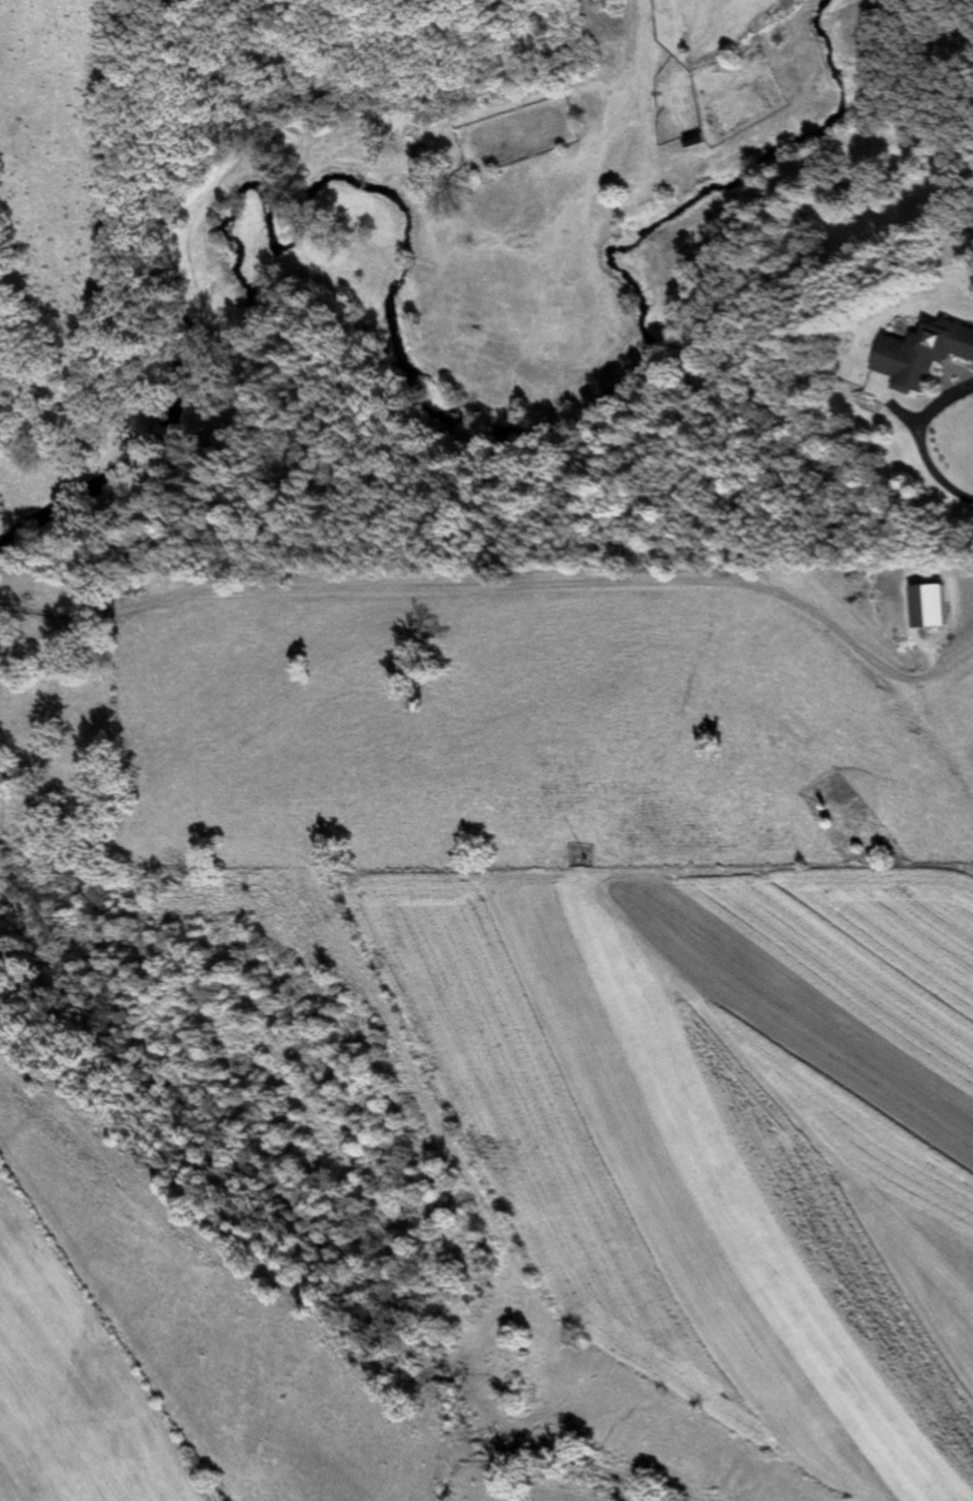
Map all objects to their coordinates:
building: (921, 357)

